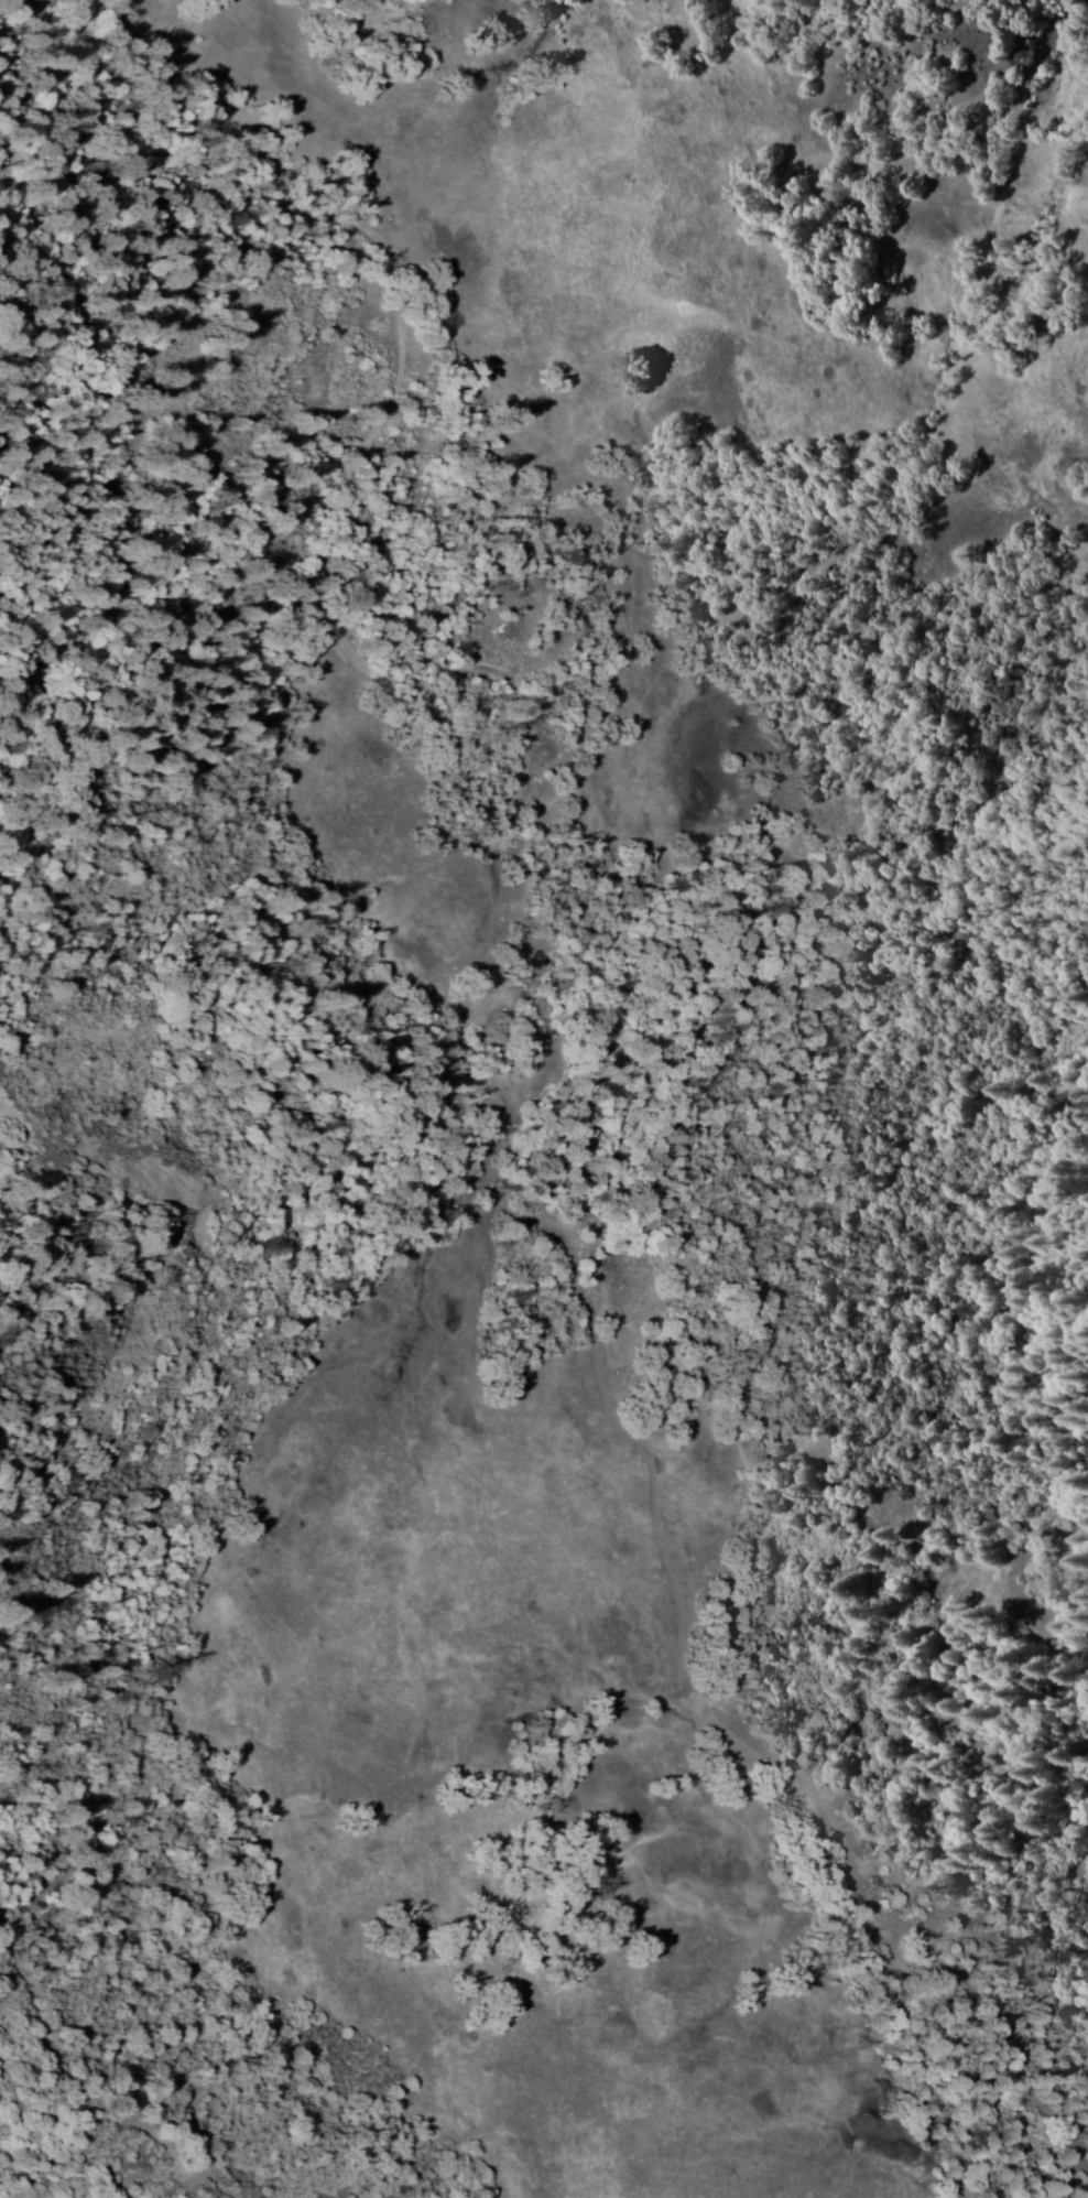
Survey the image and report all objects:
road: (592, 1648)
road: (80, 2105)

